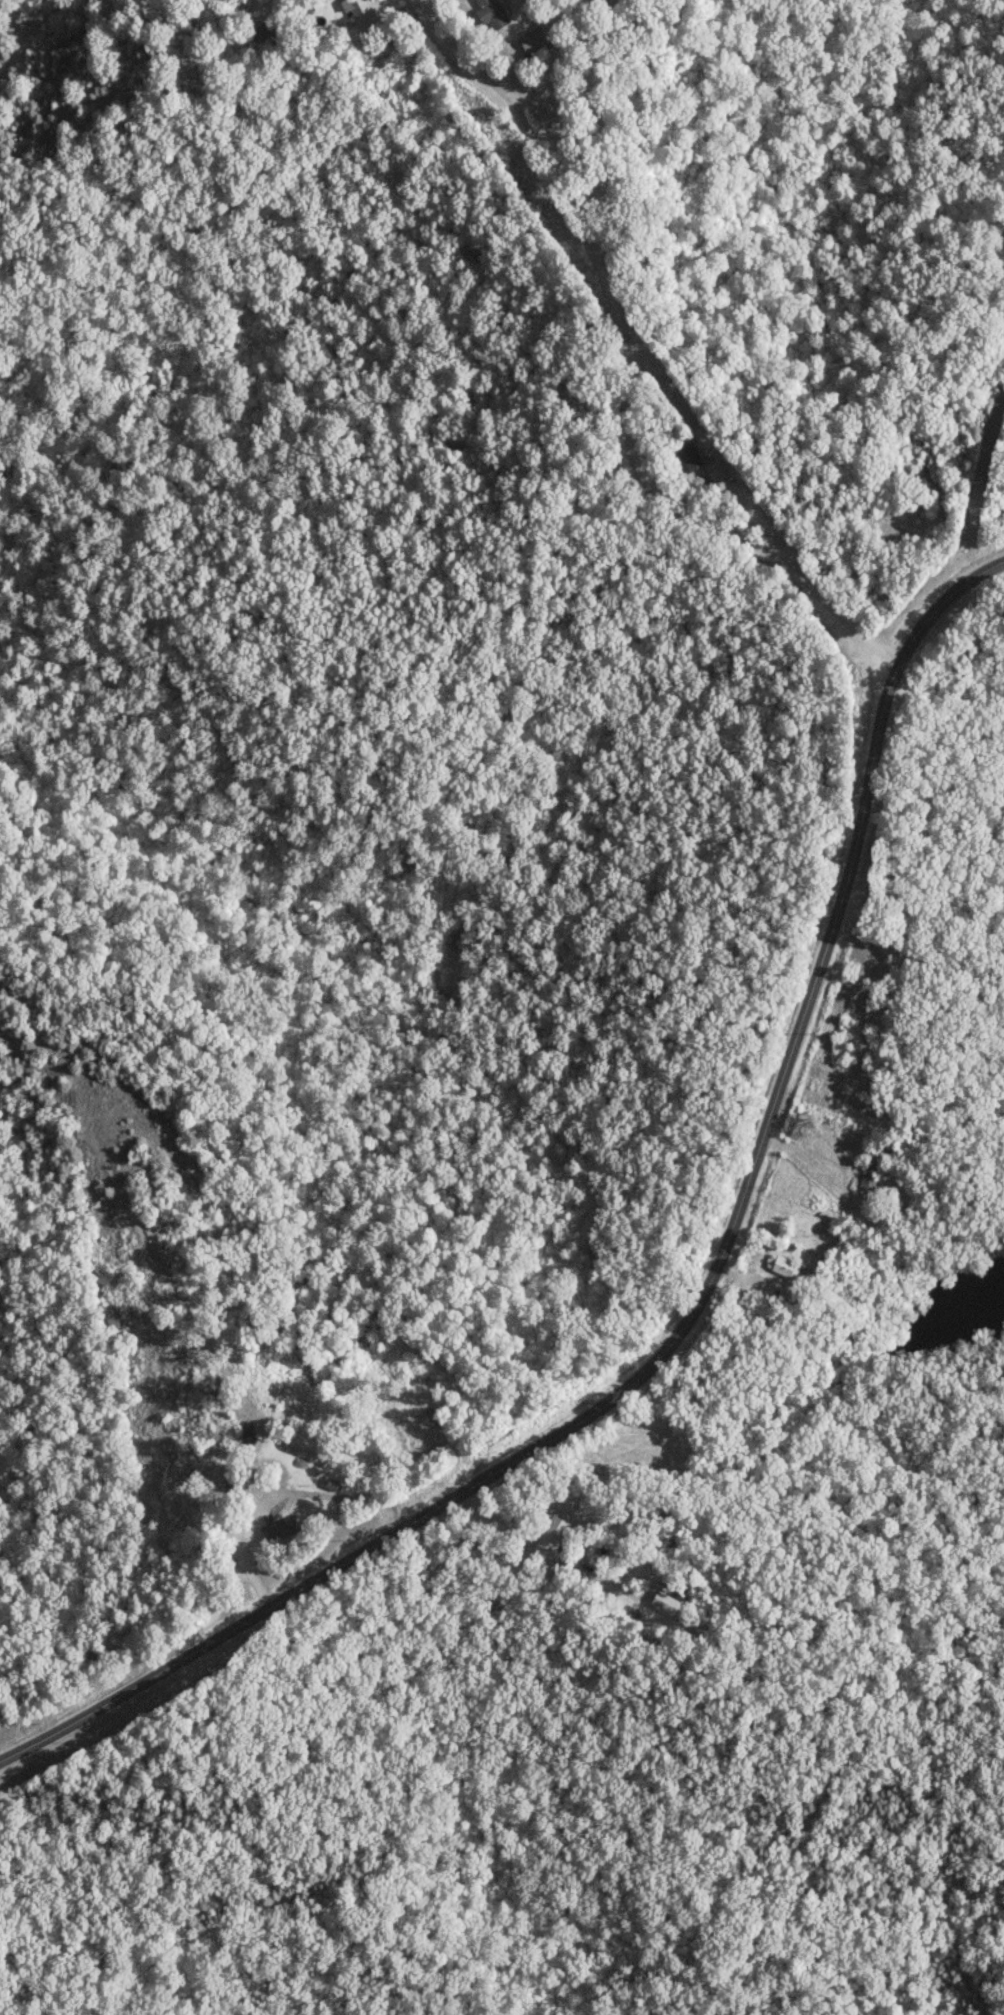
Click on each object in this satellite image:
building: (359, 7)
building: (263, 29)
building: (536, 40)
road: (629, 369)
building: (688, 455)
building: (714, 471)
building: (873, 1163)
building: (785, 1266)
road: (695, 1311)
building: (550, 1535)

